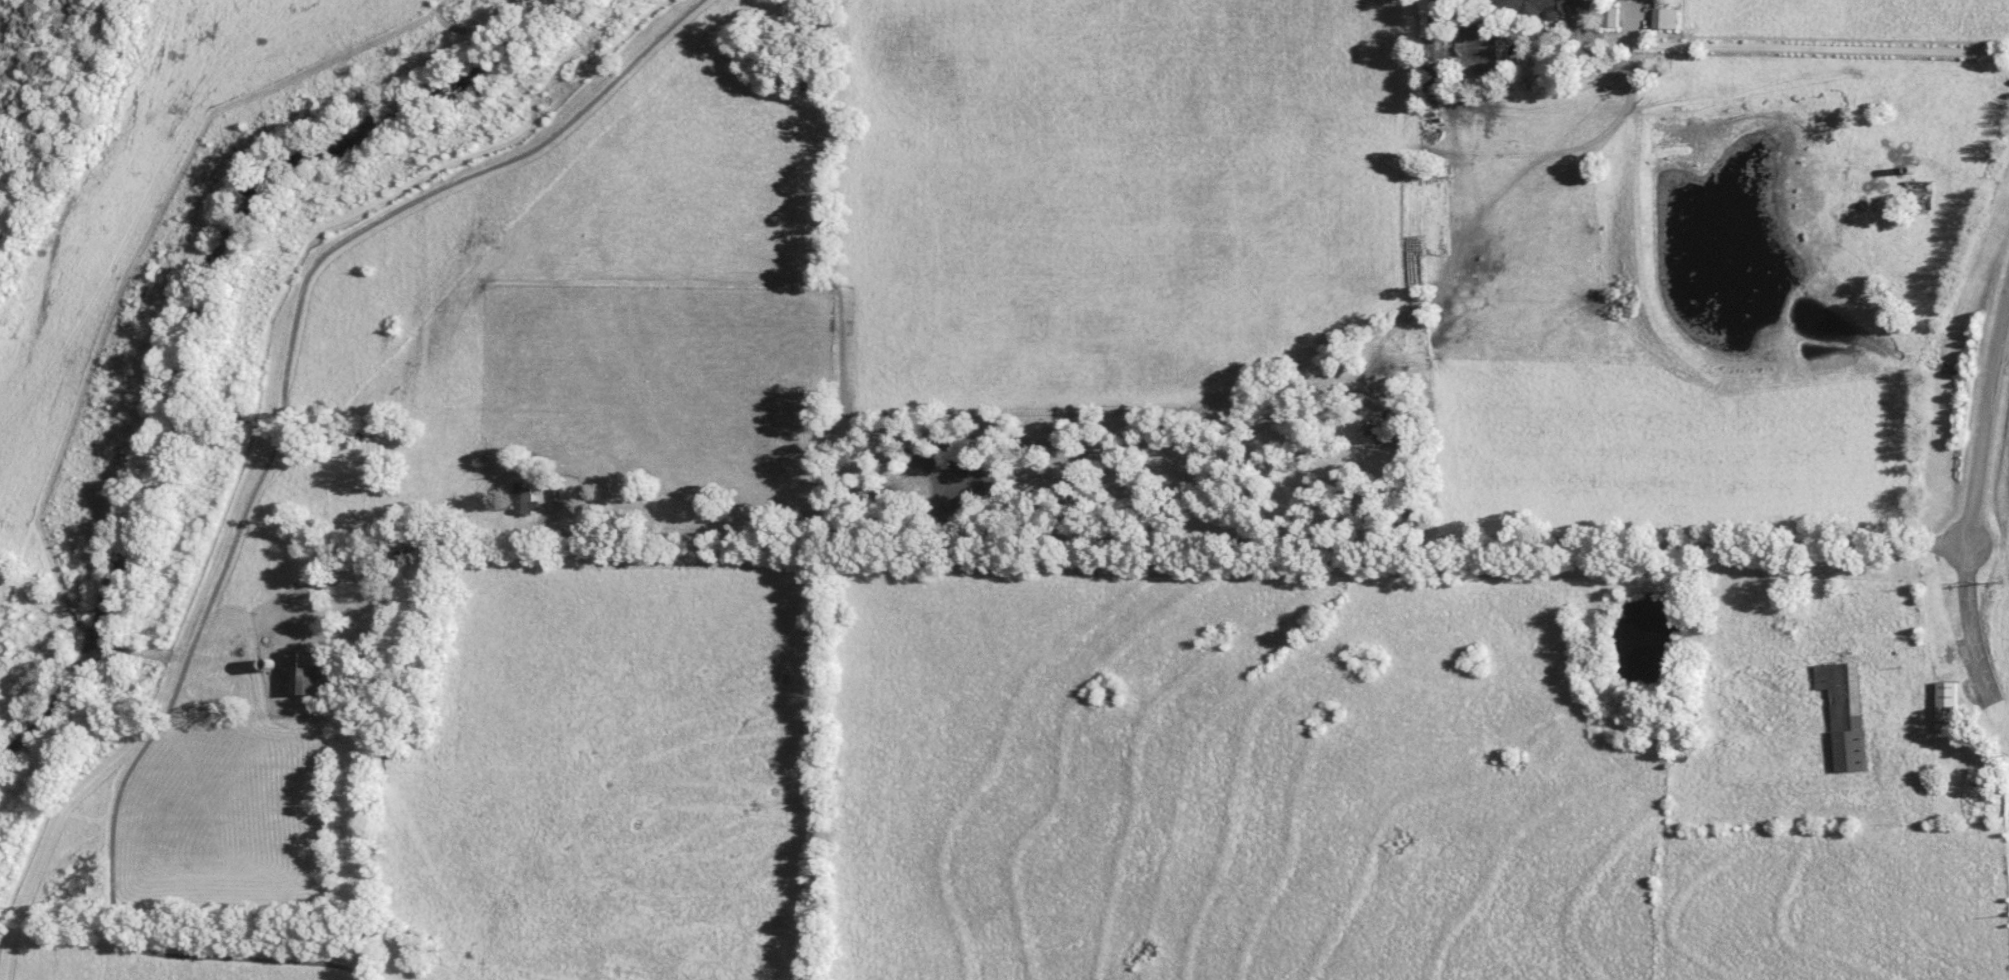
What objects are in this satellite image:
building: (1537, 7)
building: (1426, 10)
building: (1609, 17)
building: (1665, 18)
road: (1817, 46)
crop: (1120, 193)
river: (195, 313)
road: (1986, 421)
building: (523, 499)
road: (250, 504)
road: (1215, 539)
road: (1970, 624)
building: (304, 672)
building: (1947, 706)
building: (1844, 712)

